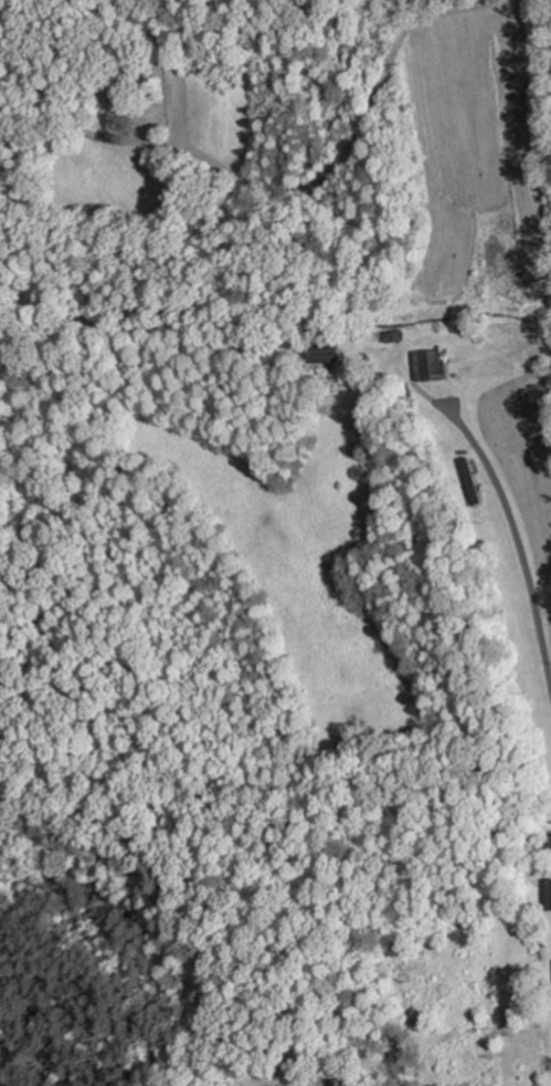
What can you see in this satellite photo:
park: (138, 82)
building: (320, 351)
building: (428, 365)
building: (466, 481)
road: (513, 540)
building: (541, 870)
park: (265, 1080)
road: (319, 1084)

